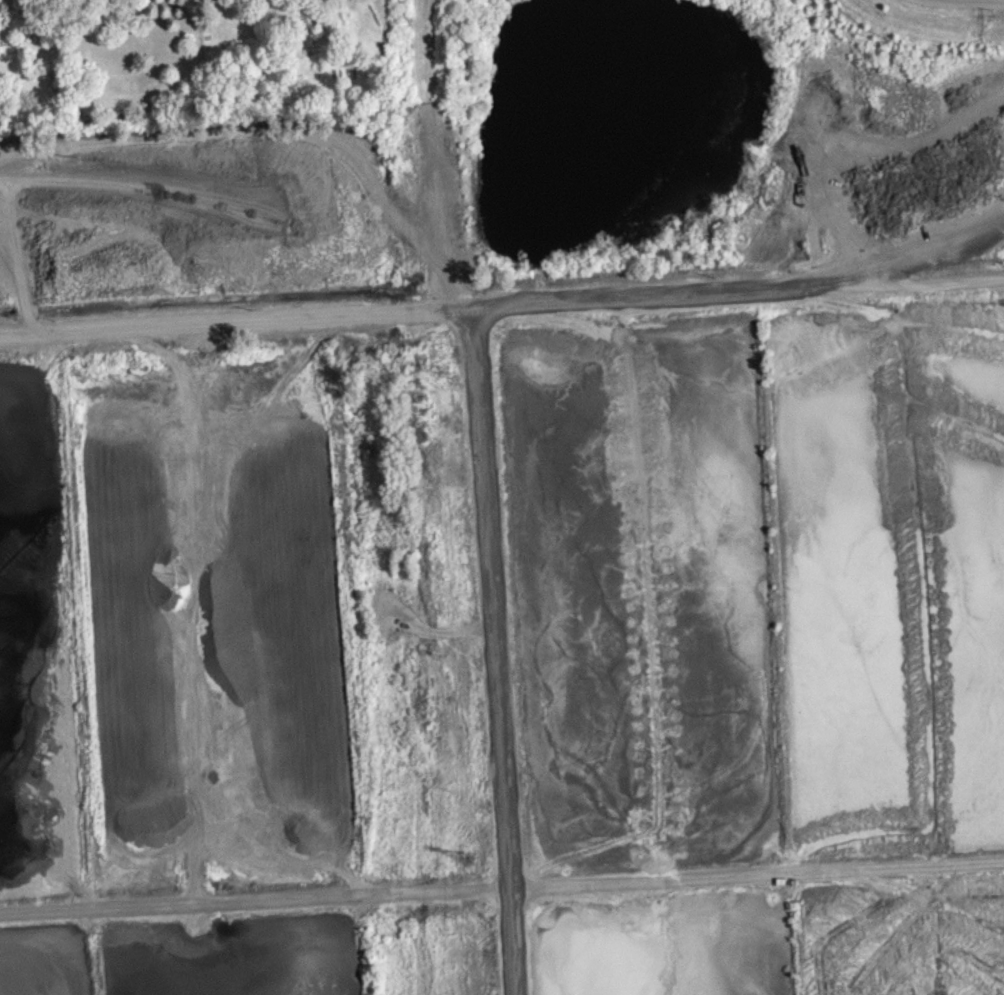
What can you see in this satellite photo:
road: (879, 268)
road: (878, 284)
road: (509, 301)
power tower: (441, 370)
road: (494, 649)
power tower: (467, 856)
road: (502, 887)

